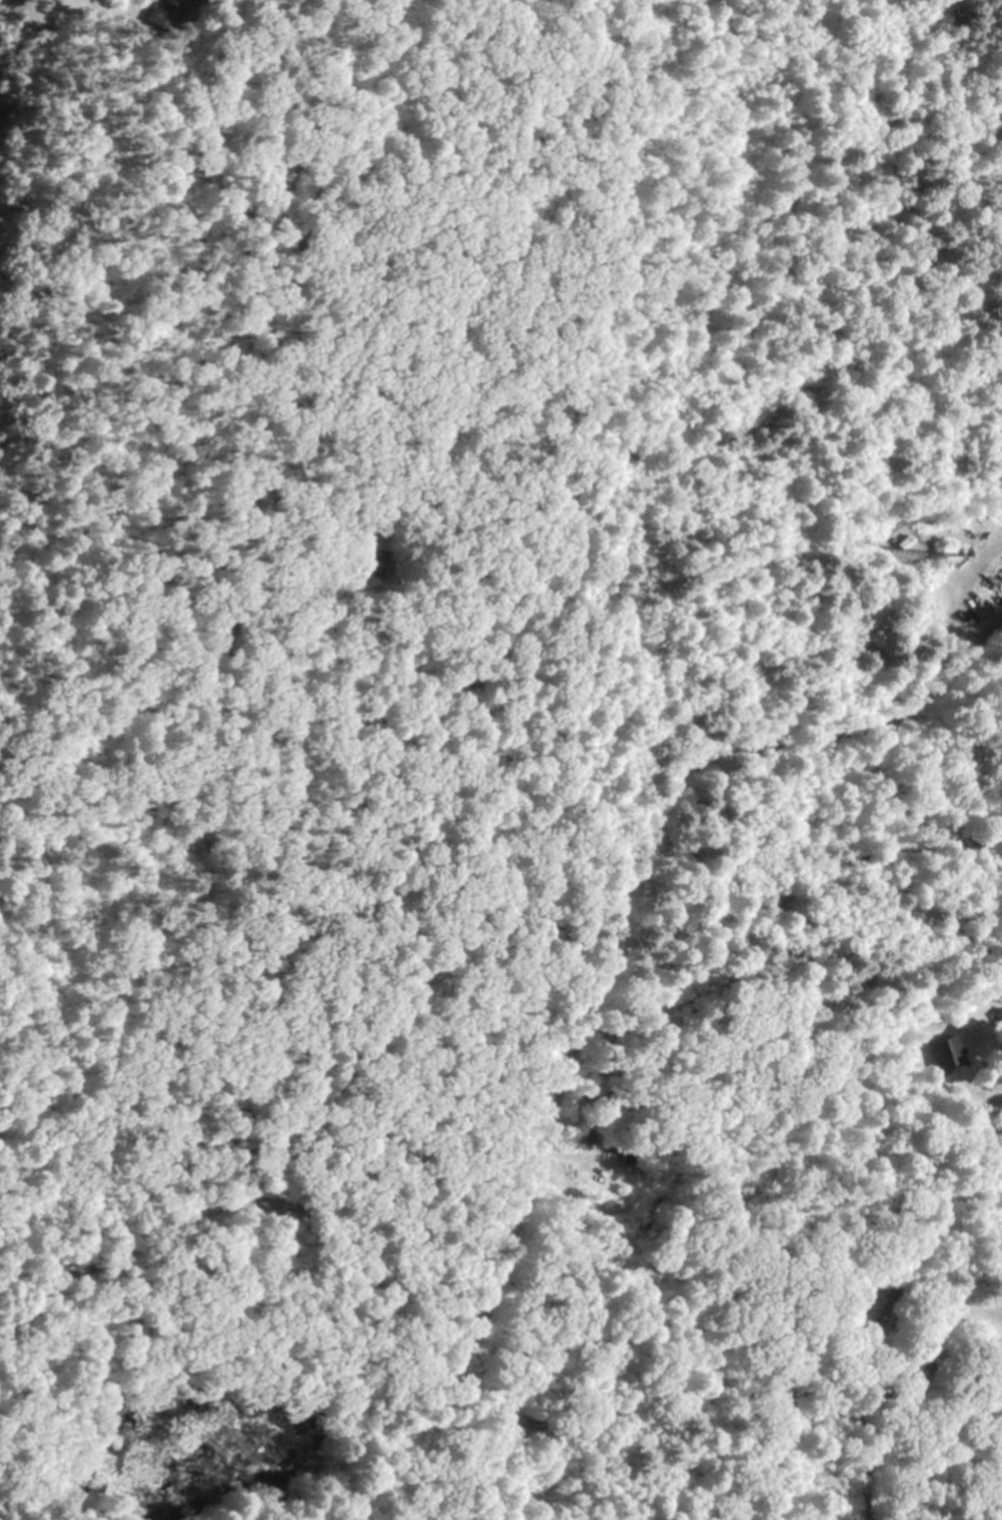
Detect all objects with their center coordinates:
building: (176, 1)
road: (278, 36)
road: (517, 555)
building: (389, 567)
park: (790, 673)
road: (227, 683)
building: (939, 1051)
building: (858, 1302)
road: (15, 1306)
road: (930, 1316)
road: (432, 1336)
road: (861, 1512)

